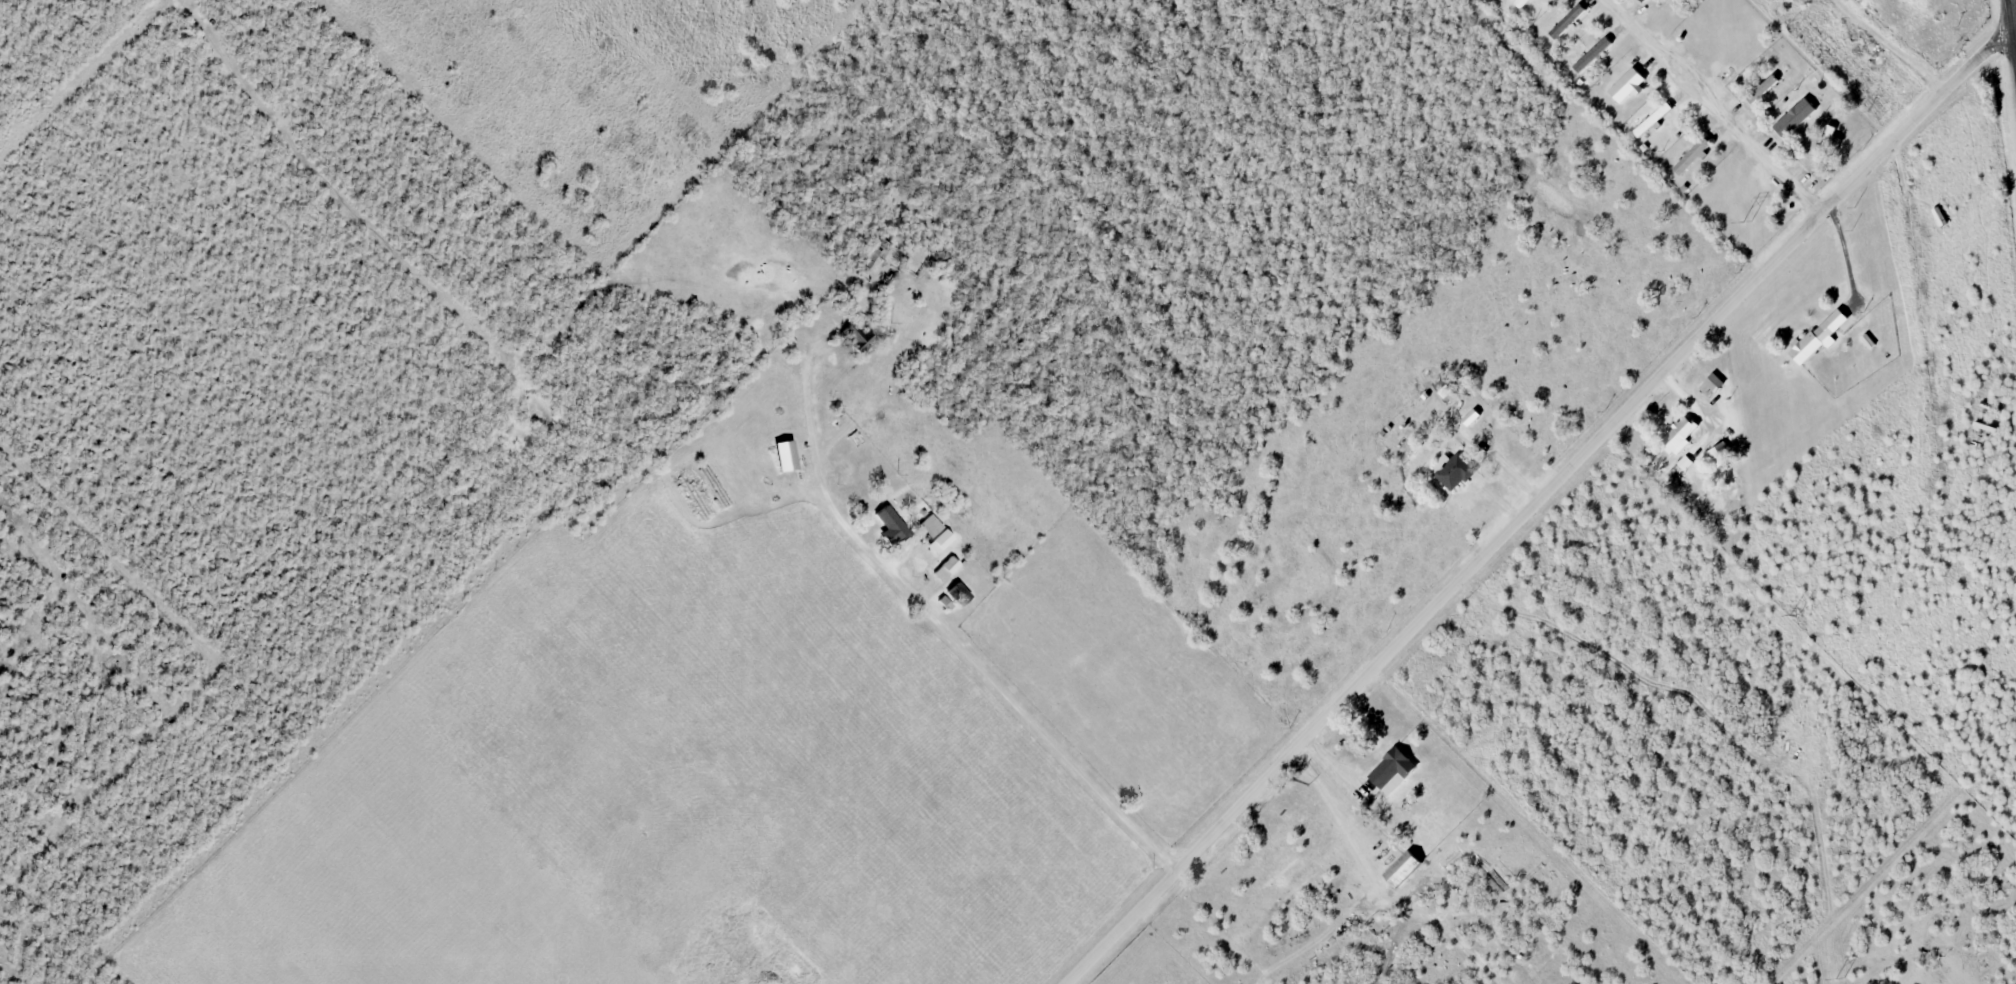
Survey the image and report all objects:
building: (1643, 1)
building: (1523, 3)
road: (2015, 4)
building: (1568, 21)
building: (1591, 58)
building: (1629, 86)
building: (1764, 90)
power tower: (37, 105)
road: (1718, 106)
building: (1802, 115)
building: (1656, 121)
building: (1826, 144)
building: (1694, 156)
power tower: (1746, 222)
road: (1843, 255)
building: (1828, 333)
building: (853, 337)
building: (1714, 386)
building: (1682, 434)
building: (787, 455)
building: (1724, 455)
building: (1457, 472)
road: (1540, 498)
building: (891, 524)
building: (931, 525)
building: (946, 568)
building: (958, 594)
power tower: (1794, 615)
road: (946, 645)
building: (1394, 768)
building: (1405, 869)
power tower: (1838, 979)
road: (777, 980)

